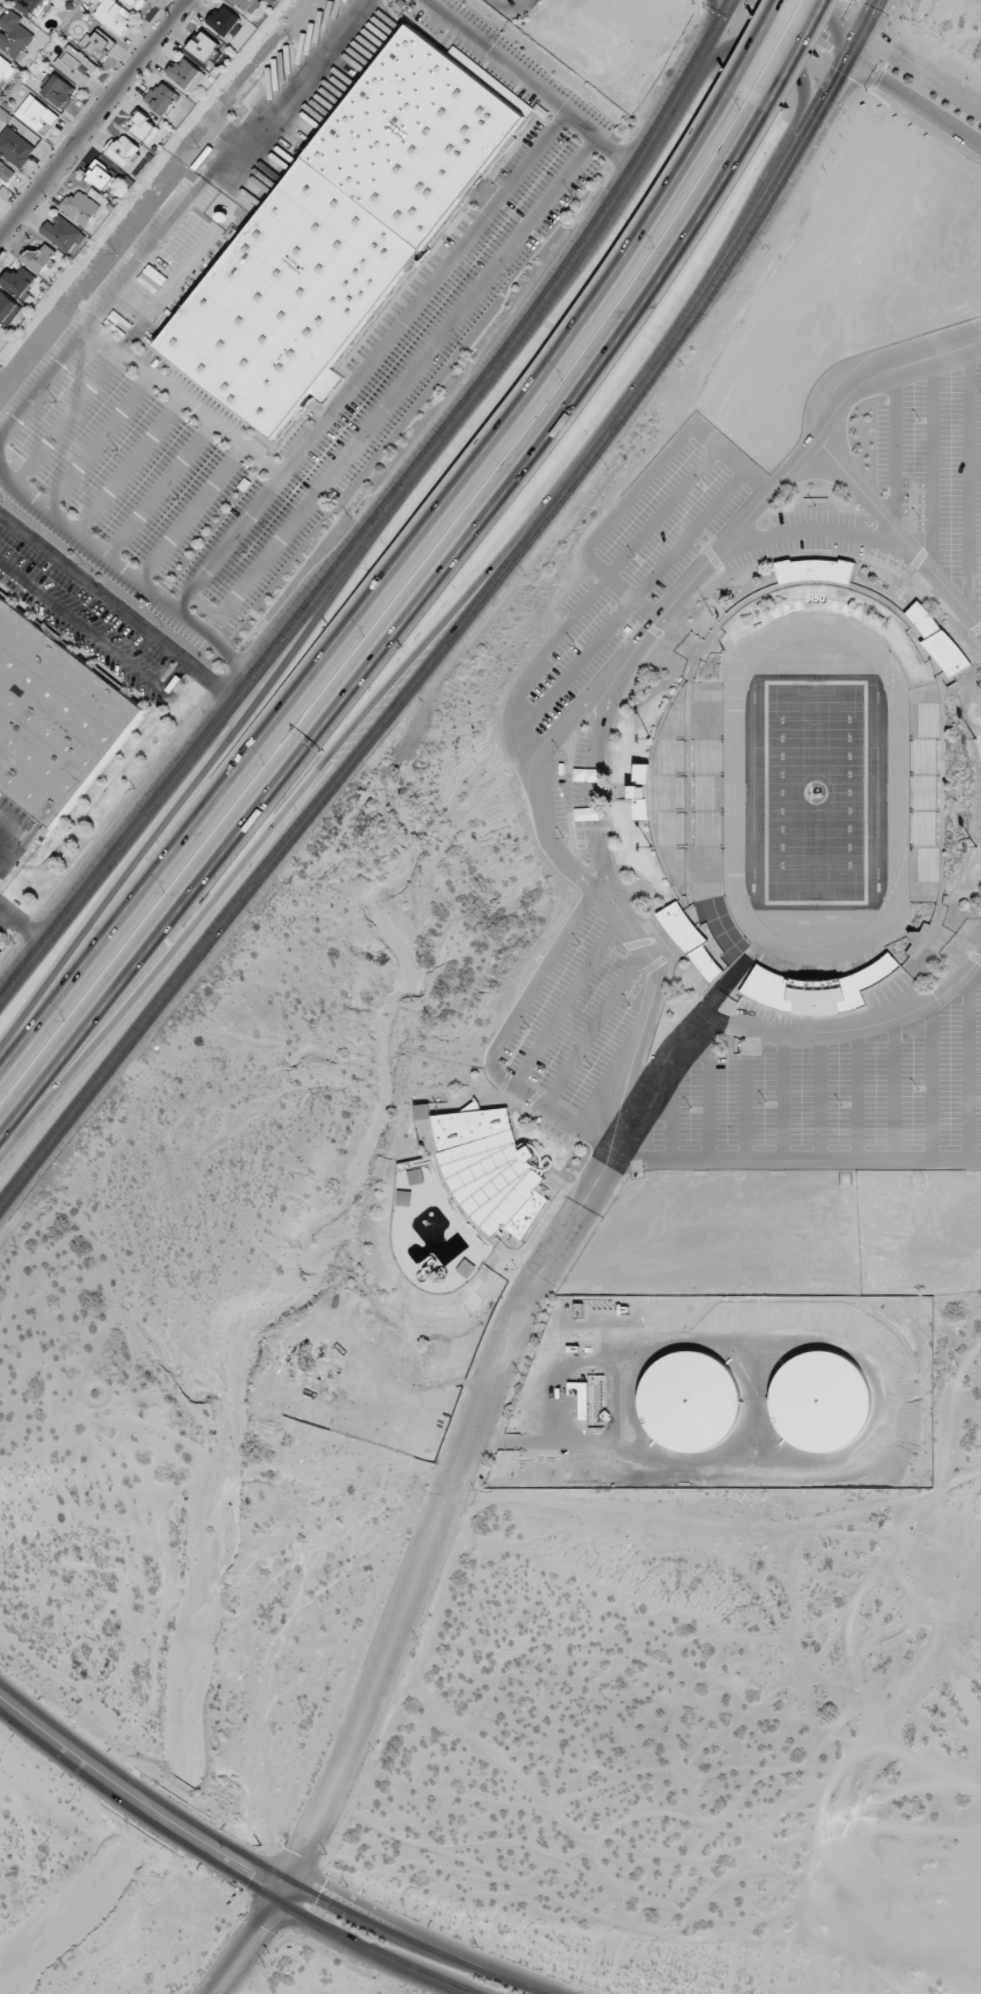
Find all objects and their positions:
building: (136, 3)
building: (246, 4)
building: (35, 5)
road: (511, 11)
building: (113, 15)
building: (225, 21)
road: (812, 23)
building: (13, 35)
building: (98, 44)
building: (204, 46)
road: (756, 47)
traffic signals: (856, 47)
road: (796, 57)
building: (75, 64)
building: (6, 68)
road: (922, 69)
building: (187, 74)
road: (799, 79)
building: (59, 91)
building: (161, 98)
road: (914, 102)
road: (94, 120)
building: (143, 127)
building: (15, 147)
building: (124, 150)
building: (6, 172)
building: (100, 176)
building: (80, 208)
building: (62, 233)
building: (337, 234)
building: (38, 256)
building: (18, 281)
building: (8, 308)
road: (894, 448)
road: (931, 463)
parking lot: (935, 468)
road: (968, 478)
road: (773, 485)
road: (639, 488)
road: (384, 511)
road: (822, 531)
road: (897, 533)
parking lot: (807, 538)
building: (814, 570)
parking lot: (630, 572)
road: (377, 590)
road: (585, 600)
road: (629, 602)
road: (114, 608)
road: (462, 619)
road: (397, 634)
building: (937, 640)
building: (54, 718)
road: (208, 774)
road: (540, 788)
road: (592, 788)
park: (814, 791)
track: (894, 791)
building: (639, 792)
building: (688, 792)
building: (922, 792)
parking lot: (570, 793)
road: (271, 831)
road: (5, 917)
road: (23, 921)
building: (695, 941)
building: (815, 989)
road: (567, 1001)
road: (644, 1017)
parking lot: (568, 1026)
road: (593, 1026)
road: (853, 1028)
road: (498, 1038)
road: (967, 1064)
road: (930, 1079)
road: (895, 1087)
road: (856, 1093)
road: (707, 1094)
road: (781, 1095)
road: (818, 1095)
parking lot: (831, 1100)
road: (744, 1110)
building: (423, 1111)
road: (671, 1112)
road: (795, 1158)
building: (491, 1169)
building: (466, 1268)
building: (580, 1397)
building: (819, 1401)
storage tank: (819, 1401)
building: (688, 1402)
storage tank: (688, 1402)
road: (469, 1442)
road: (133, 1814)
road: (237, 1851)
road: (332, 1931)
road: (248, 1944)
road: (429, 1977)
road: (521, 1985)

